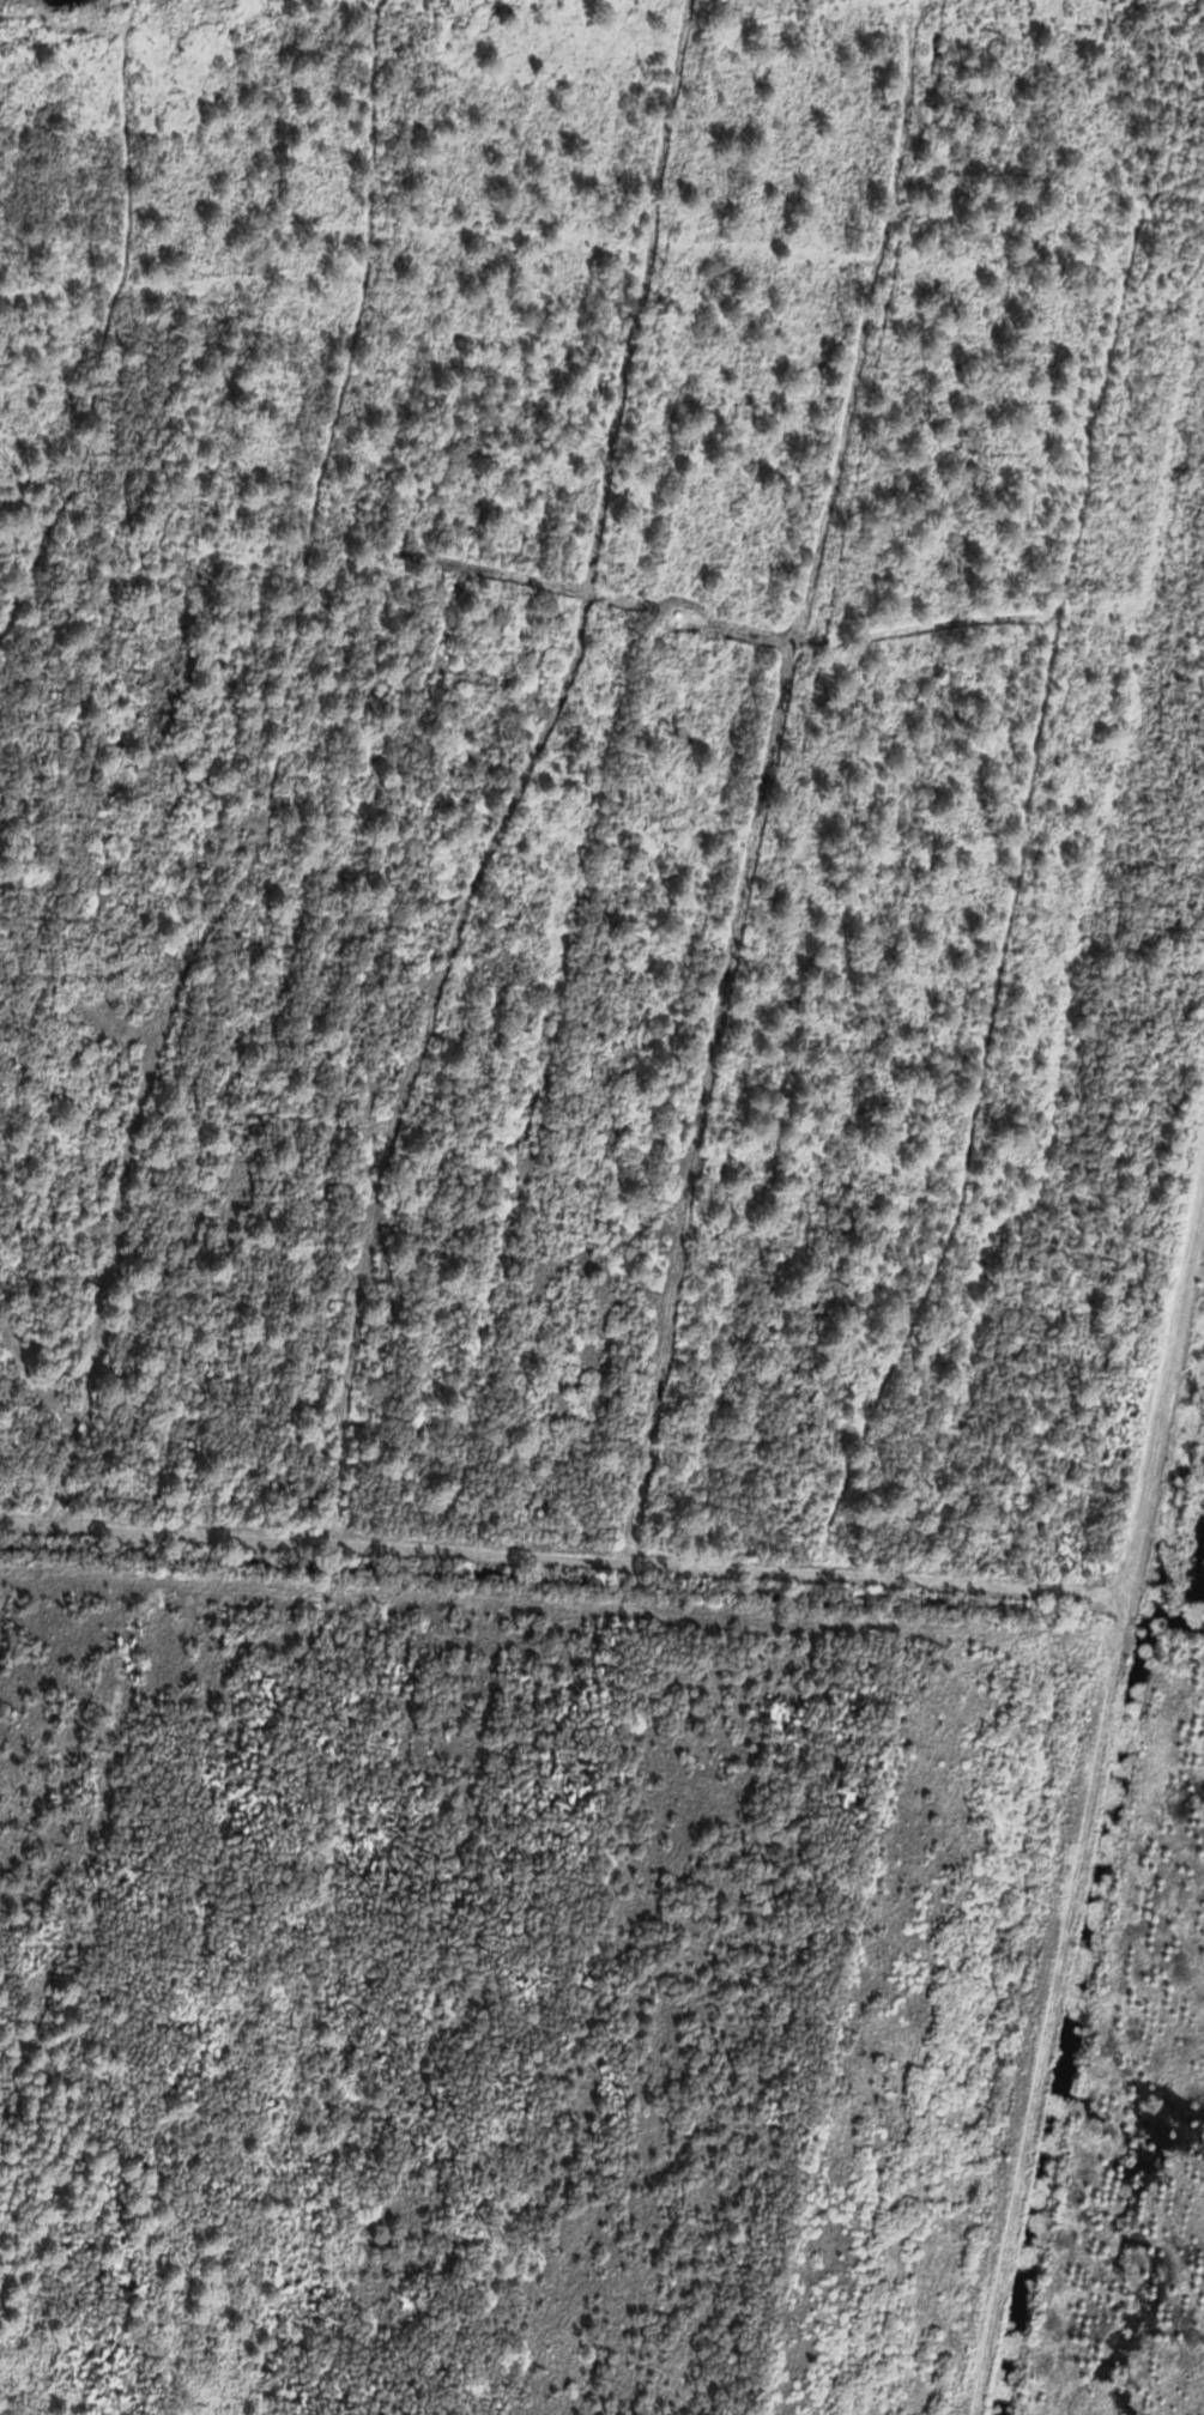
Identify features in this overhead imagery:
building: (79, 1426)
road: (564, 1557)
road: (559, 1603)
road: (1088, 1802)

